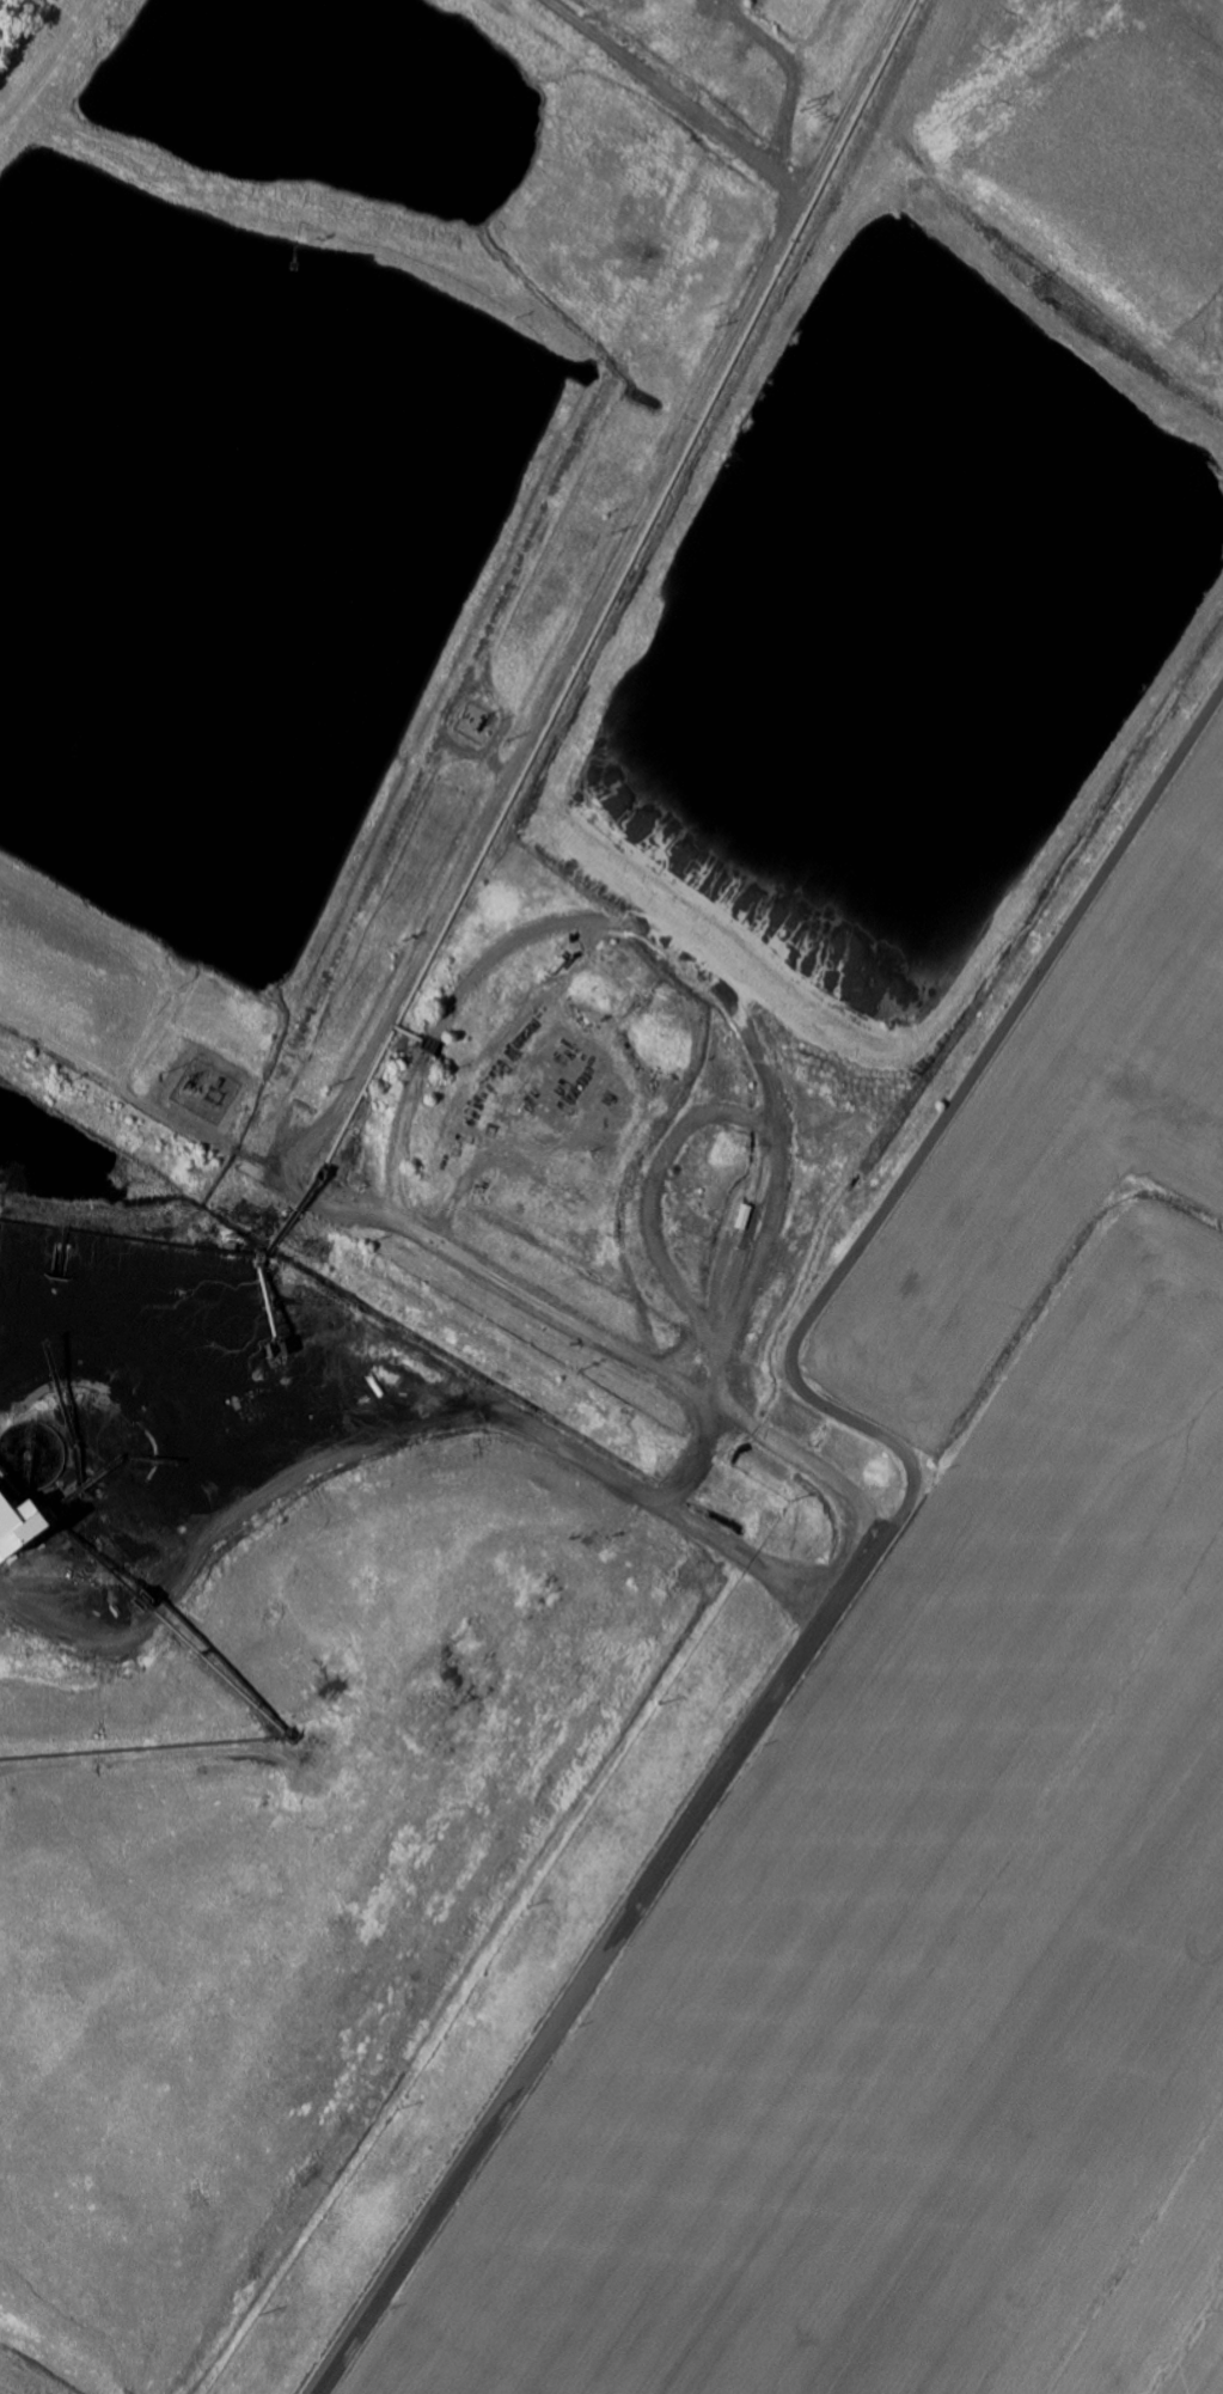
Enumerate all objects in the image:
building: (18, 1531)
road: (888, 1532)
quarry: (274, 1704)

